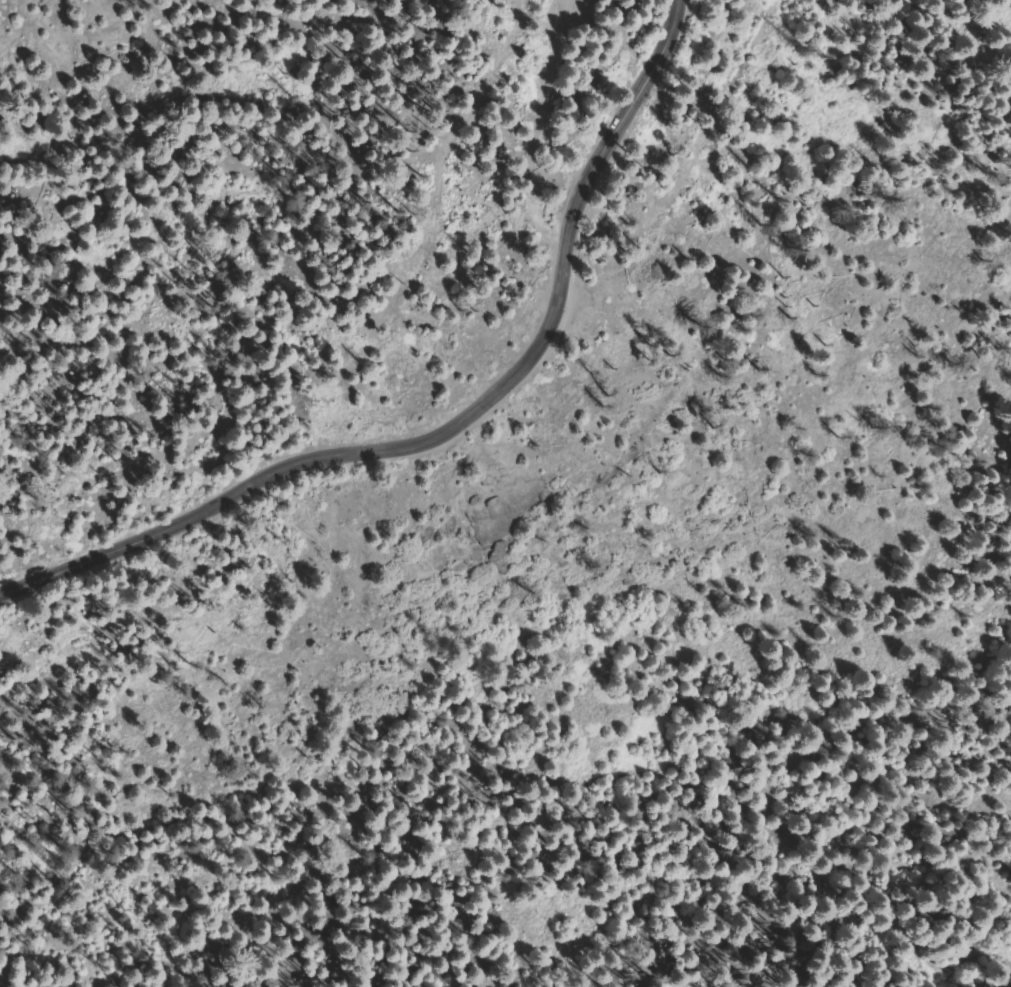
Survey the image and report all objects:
road: (464, 438)

